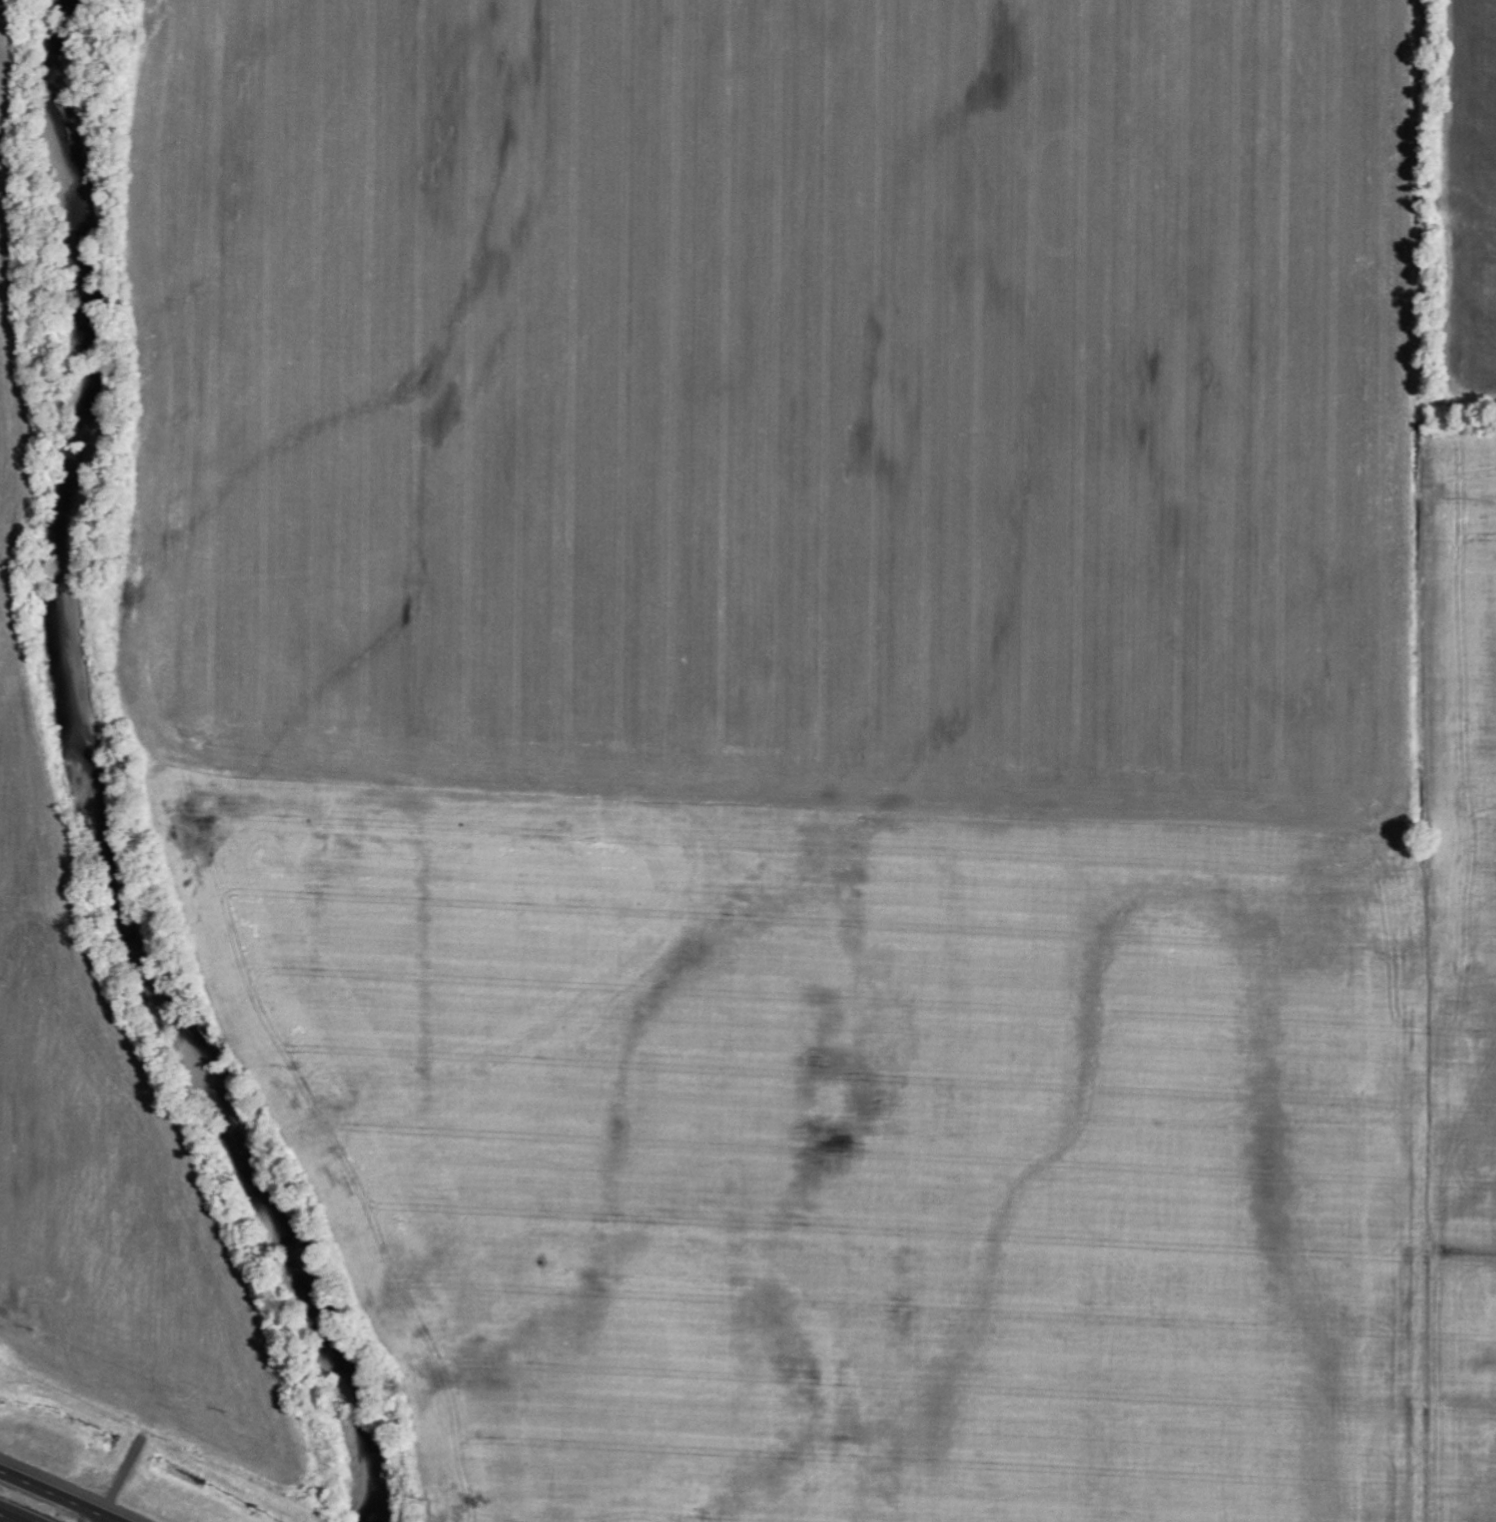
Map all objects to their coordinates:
road: (56, 1497)
road: (4, 1519)
road: (97, 1519)

